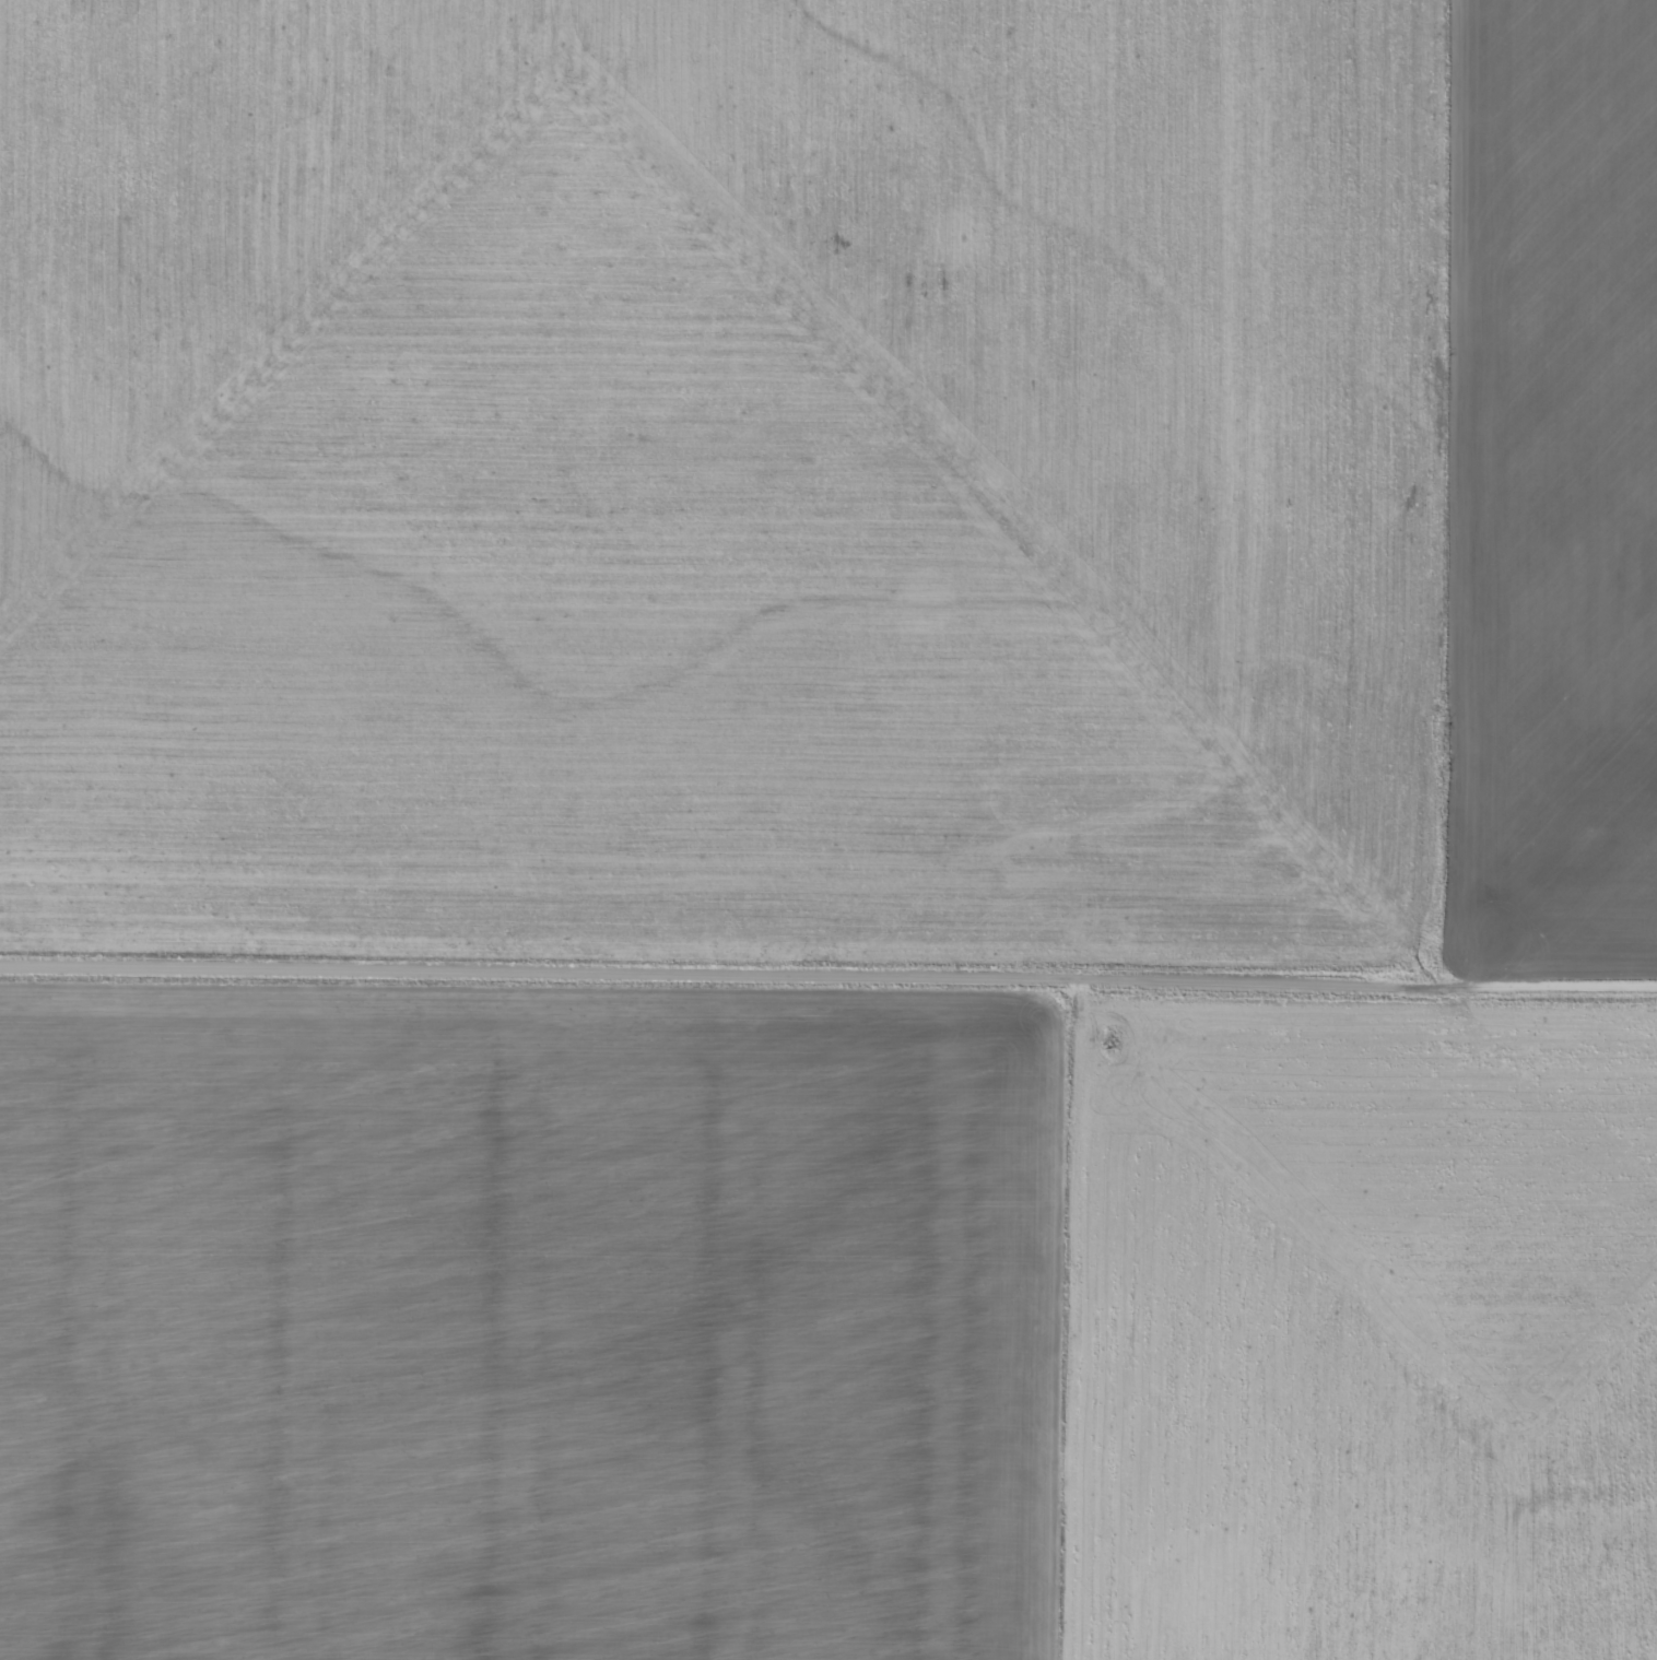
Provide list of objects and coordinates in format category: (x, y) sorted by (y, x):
road: (827, 973)

